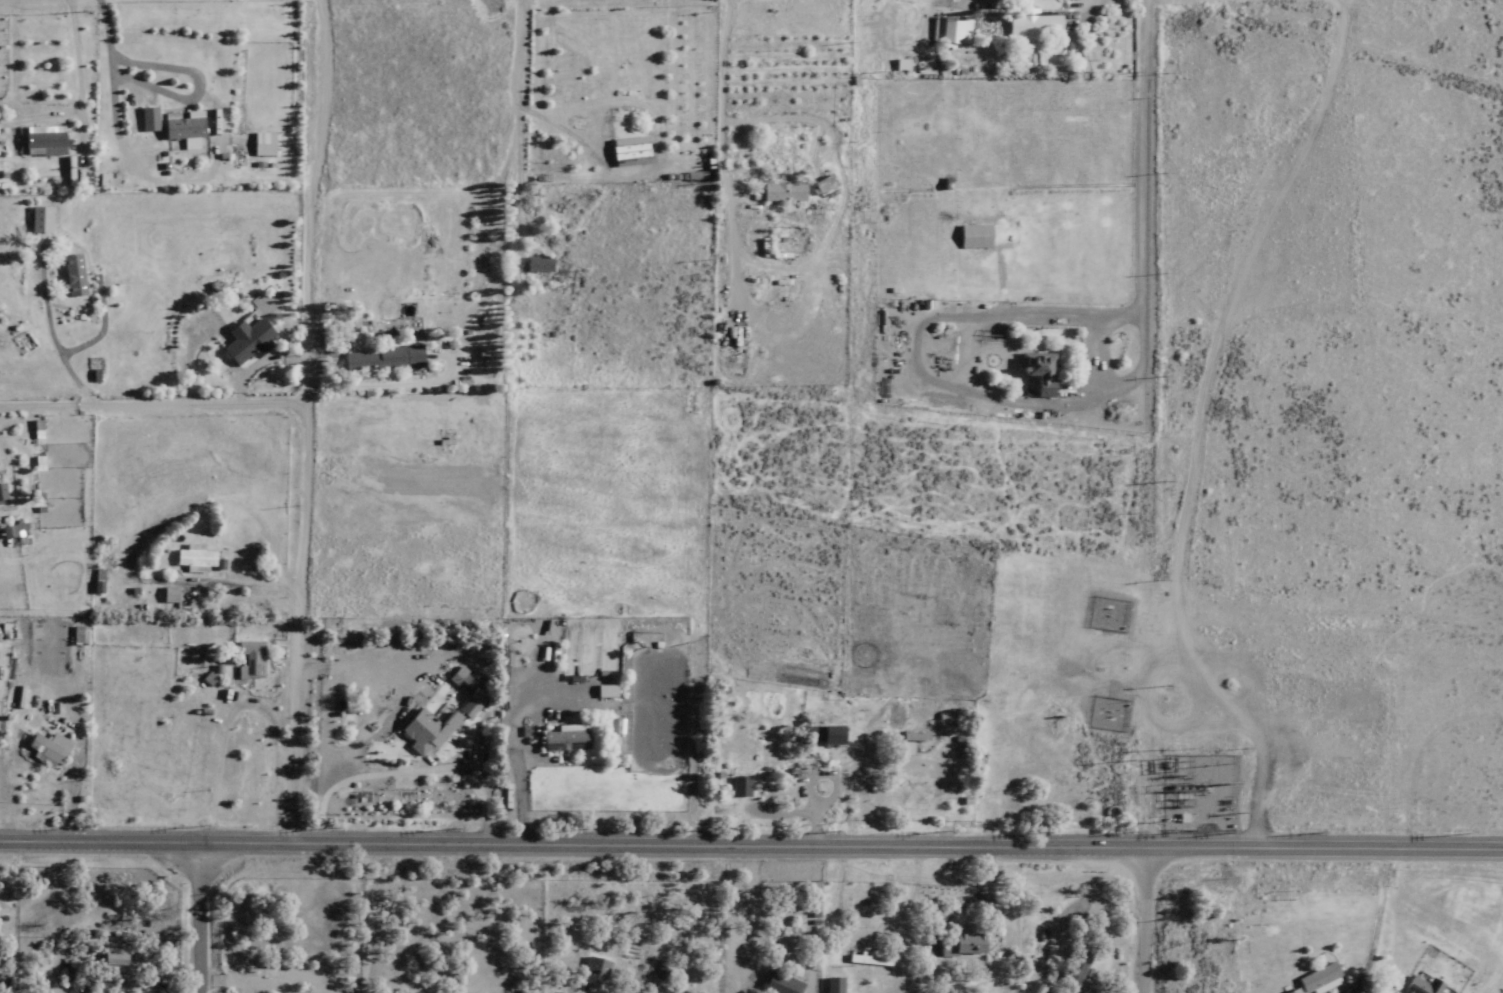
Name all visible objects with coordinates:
building: (1033, 23)
building: (950, 30)
road: (42, 55)
road: (513, 103)
road: (583, 107)
building: (144, 119)
building: (178, 130)
building: (35, 140)
building: (258, 143)
building: (626, 151)
road: (1145, 181)
building: (782, 192)
building: (34, 219)
building: (535, 264)
building: (67, 275)
building: (241, 341)
building: (379, 359)
building: (1039, 373)
road: (149, 391)
road: (299, 418)
building: (1, 531)
building: (188, 558)
building: (162, 595)
building: (72, 635)
building: (246, 660)
building: (431, 727)
building: (821, 735)
building: (914, 736)
building: (562, 741)
building: (43, 750)
building: (739, 786)
road: (751, 838)
road: (197, 915)
road: (1142, 917)
building: (960, 944)
building: (106, 958)
building: (868, 958)
building: (1076, 966)
building: (593, 974)
building: (1316, 980)
building: (1420, 986)
building: (1036, 988)

